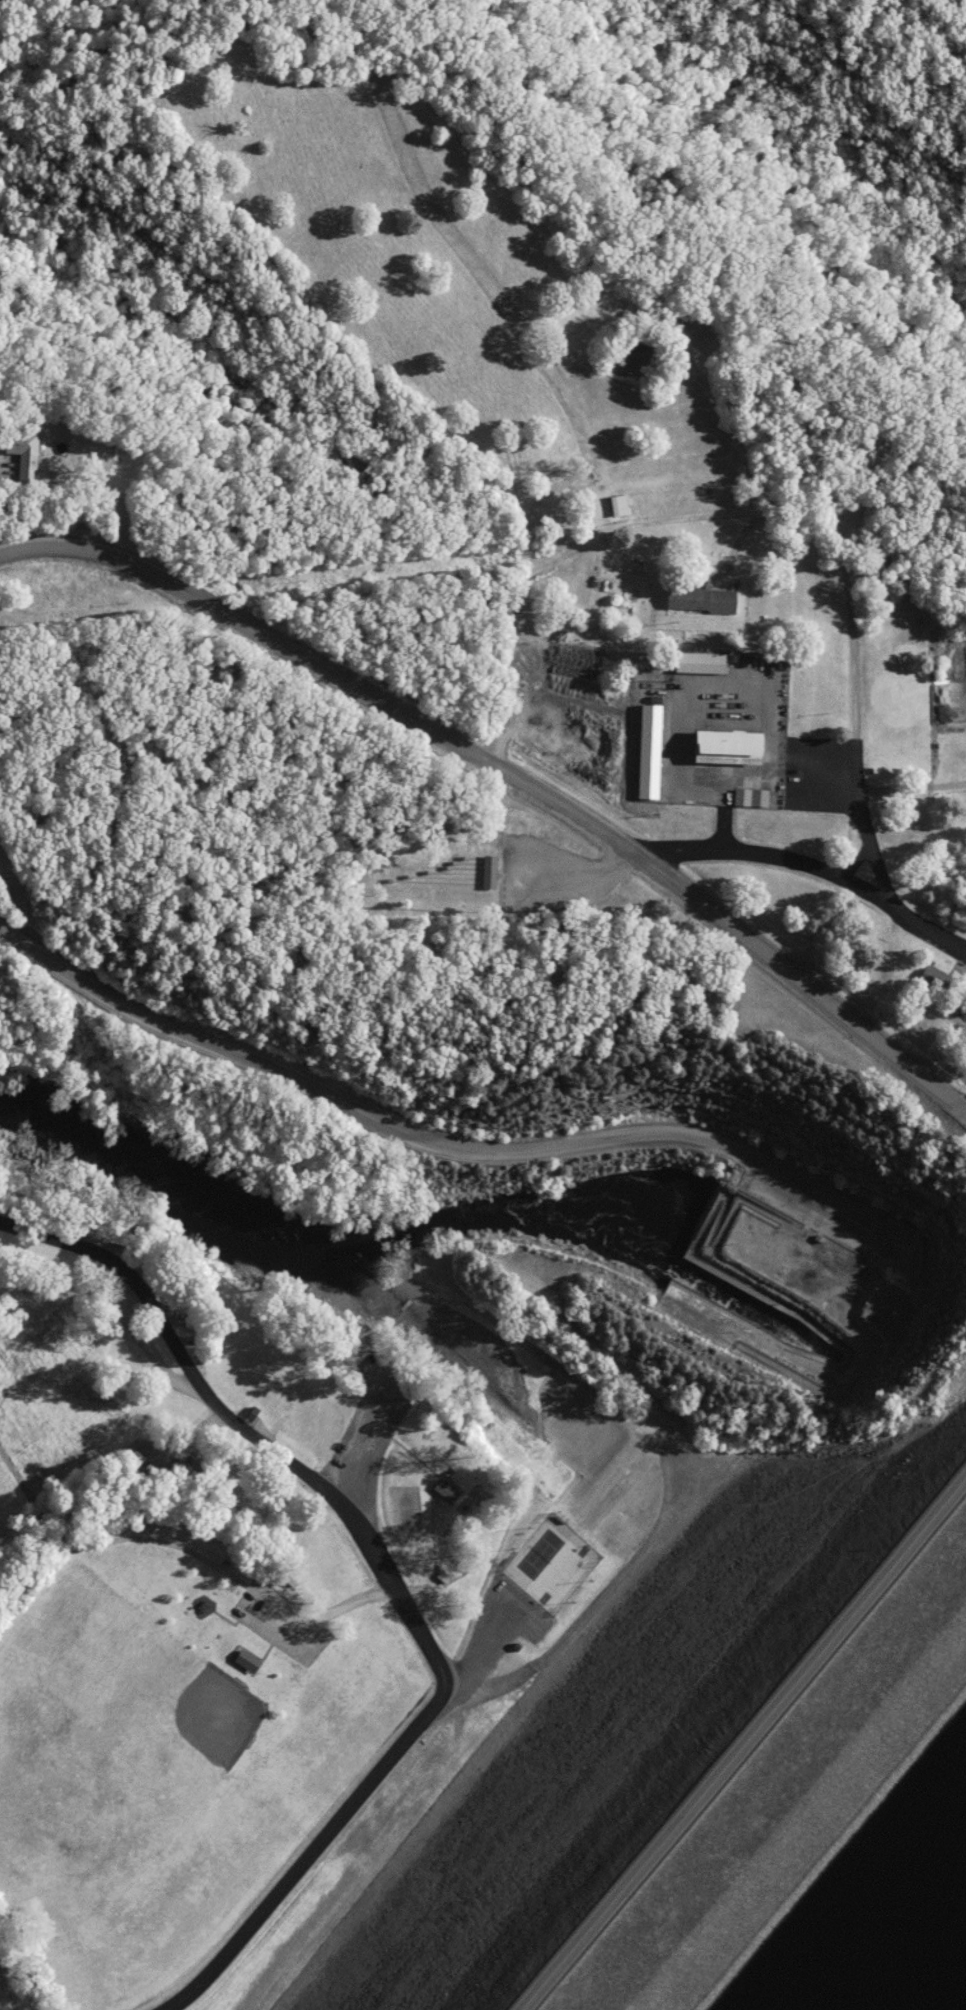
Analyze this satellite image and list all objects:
building: (19, 457)
road: (7, 463)
building: (616, 508)
road: (709, 520)
building: (697, 602)
building: (696, 666)
road: (332, 674)
building: (723, 749)
building: (645, 754)
road: (771, 765)
road: (915, 788)
building: (747, 799)
road: (816, 866)
building: (928, 980)
road: (808, 982)
road: (421, 1135)
building: (184, 1463)
building: (442, 1493)
road: (390, 1577)
road: (320, 1614)
building: (244, 1662)
dam: (647, 1676)
road: (754, 1755)

